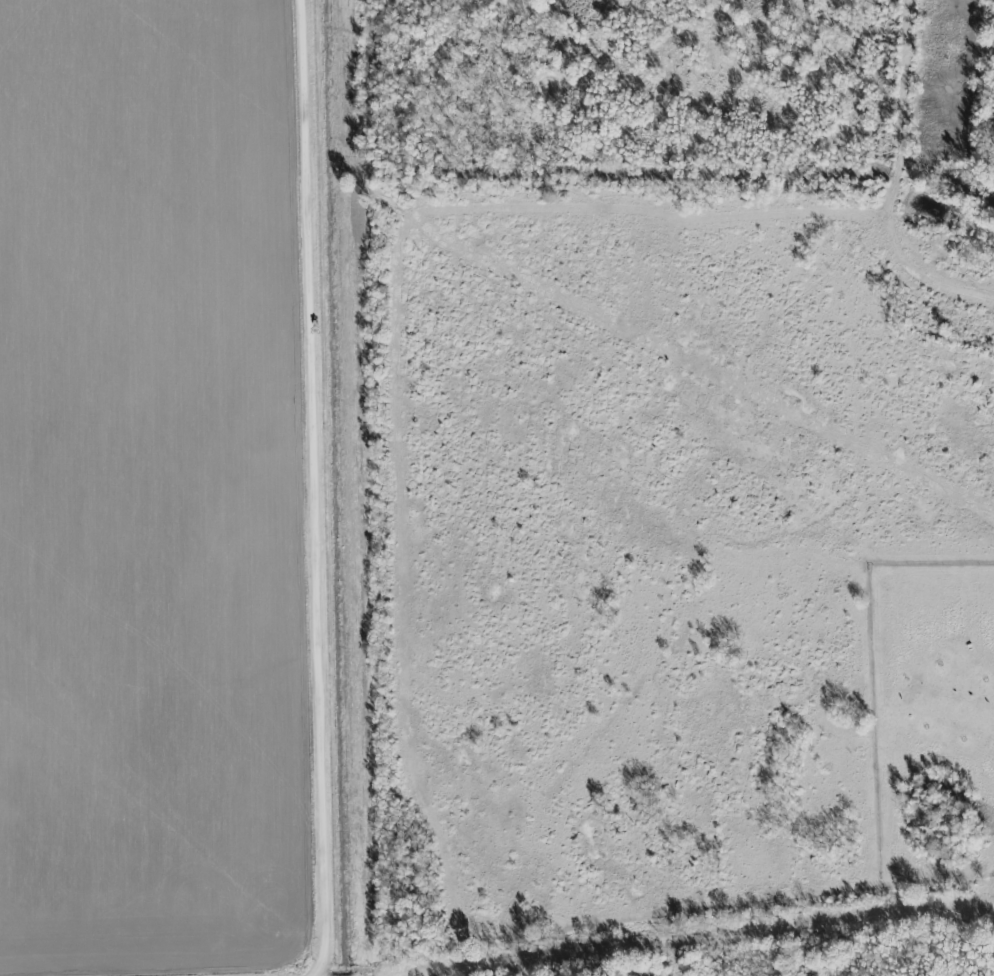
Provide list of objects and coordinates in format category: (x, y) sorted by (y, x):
road: (891, 183)
road: (318, 490)
road: (702, 936)

